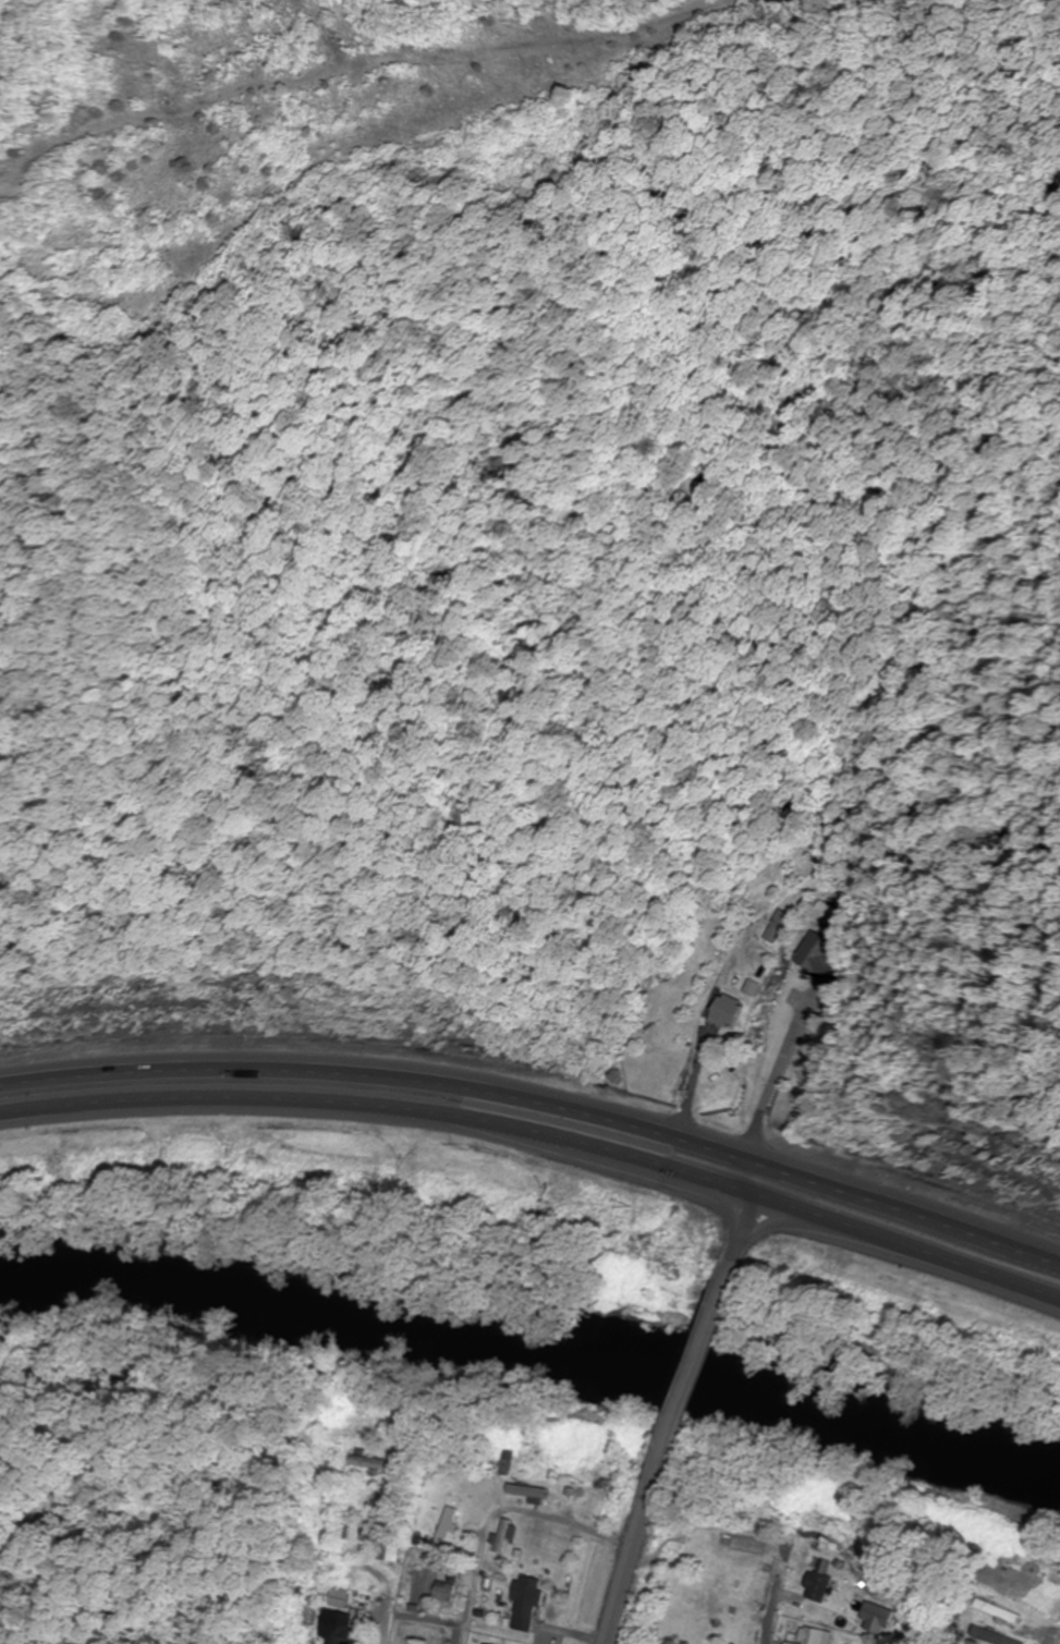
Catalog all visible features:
building: (776, 927)
building: (821, 954)
building: (723, 1011)
road: (541, 1100)
road: (541, 1137)
road: (748, 1213)
river: (534, 1352)
road: (683, 1377)
building: (508, 1462)
building: (375, 1463)
building: (533, 1491)
building: (452, 1523)
building: (346, 1525)
building: (392, 1535)
building: (508, 1535)
road: (628, 1570)
road: (391, 1574)
building: (821, 1586)
building: (444, 1591)
road: (478, 1592)
building: (341, 1597)
building: (528, 1602)
building: (1001, 1611)
building: (880, 1613)
road: (773, 1618)
building: (337, 1627)
building: (818, 1636)
building: (996, 1636)
road: (1059, 1642)
building: (791, 1643)

